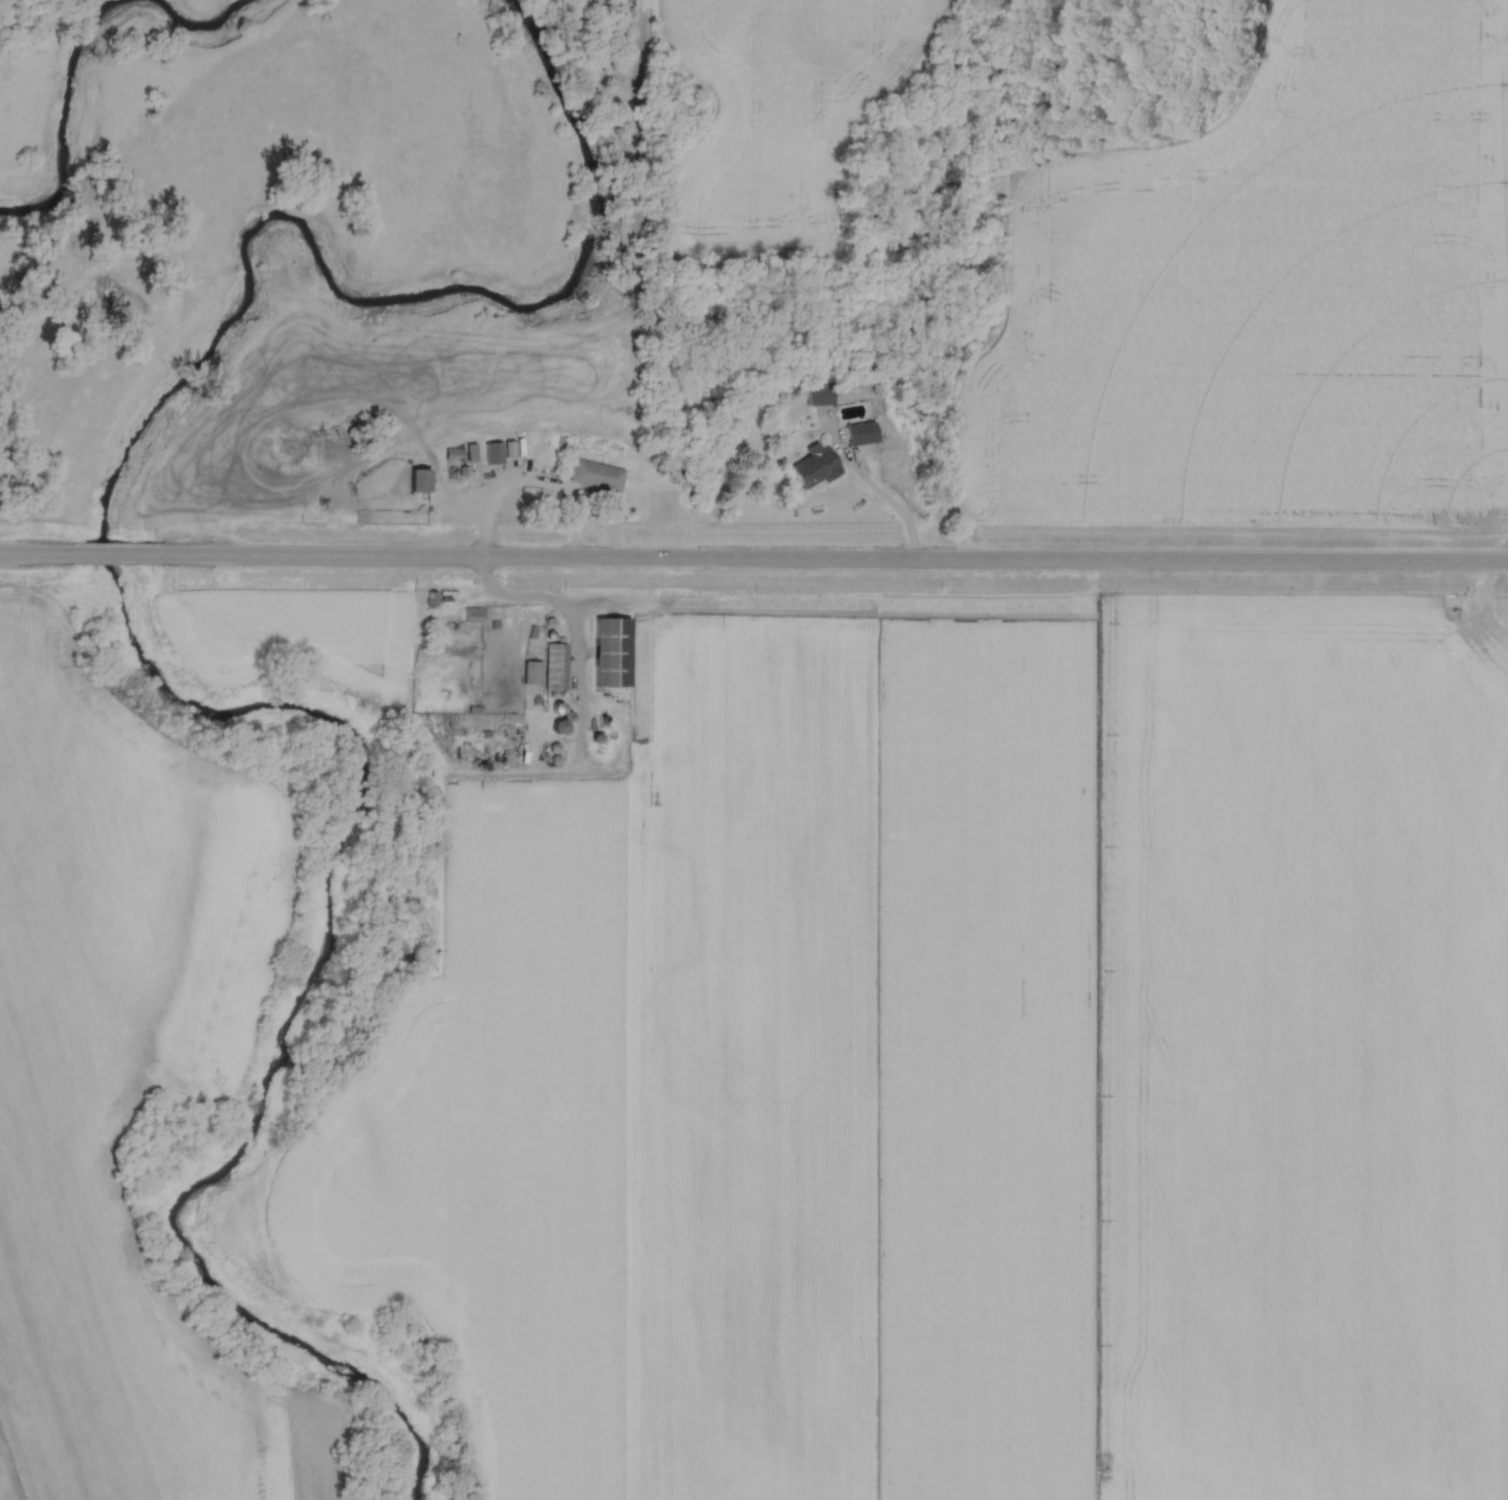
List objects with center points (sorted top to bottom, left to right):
river: (78, 53)
crop: (1272, 294)
building: (819, 392)
building: (861, 431)
building: (491, 452)
building: (895, 453)
building: (815, 466)
building: (596, 477)
building: (420, 479)
road: (530, 492)
road: (887, 508)
road: (25, 555)
road: (103, 555)
road: (831, 558)
road: (532, 602)
building: (472, 615)
building: (609, 648)
river: (130, 657)
building: (553, 665)
building: (532, 673)
building: (561, 726)
crop: (103, 1084)

